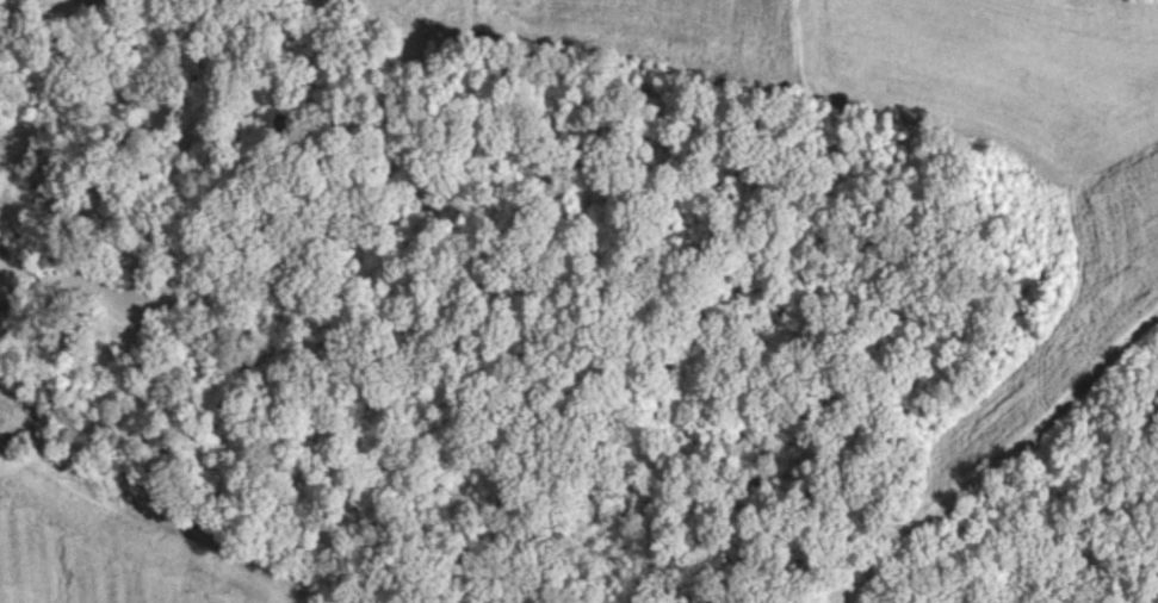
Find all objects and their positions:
road: (995, 461)

